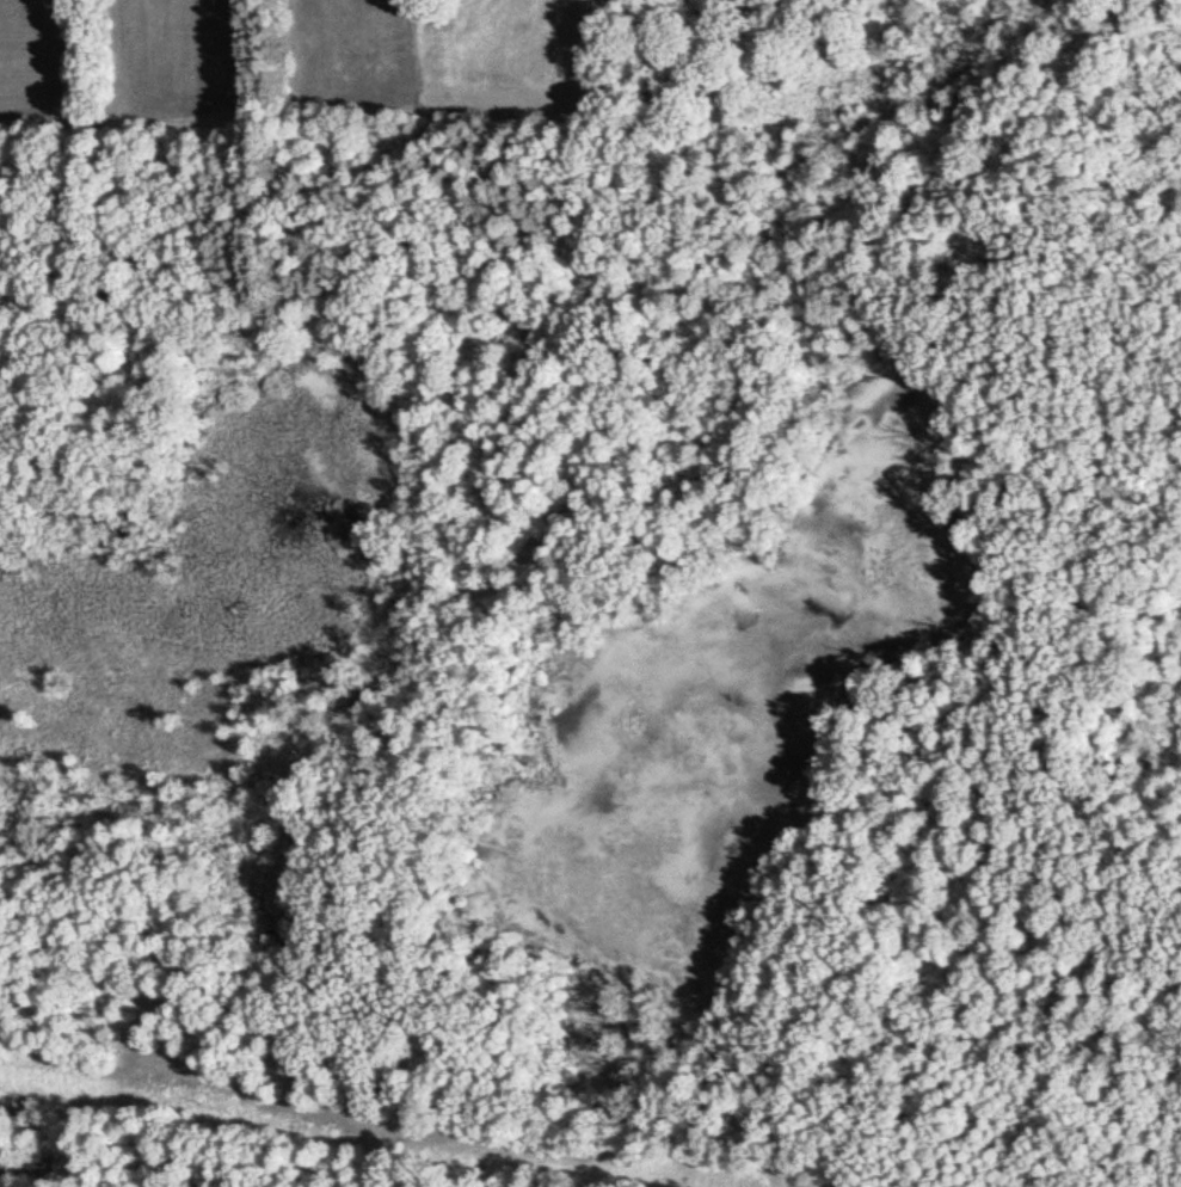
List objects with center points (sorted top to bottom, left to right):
crop: (27, 56)
crop: (433, 59)
crop: (178, 61)

